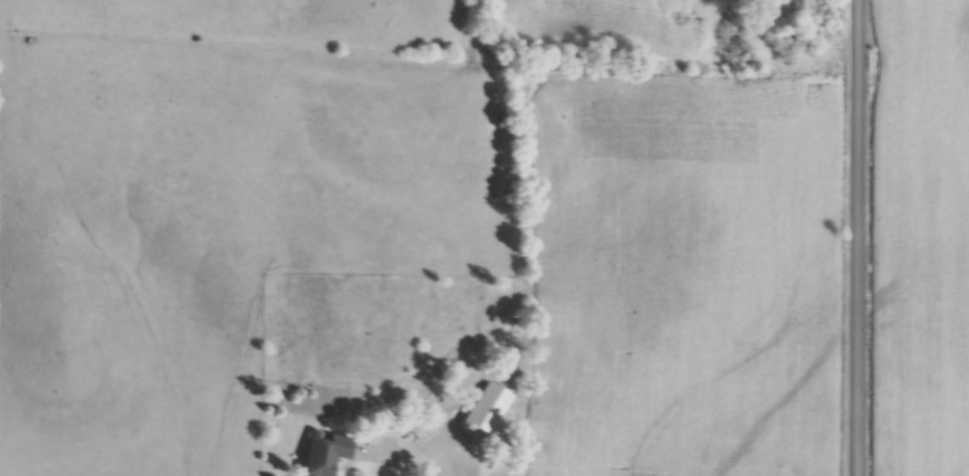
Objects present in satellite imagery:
crop: (607, 26)
crop: (922, 237)
road: (853, 238)
building: (431, 450)
building: (329, 453)

